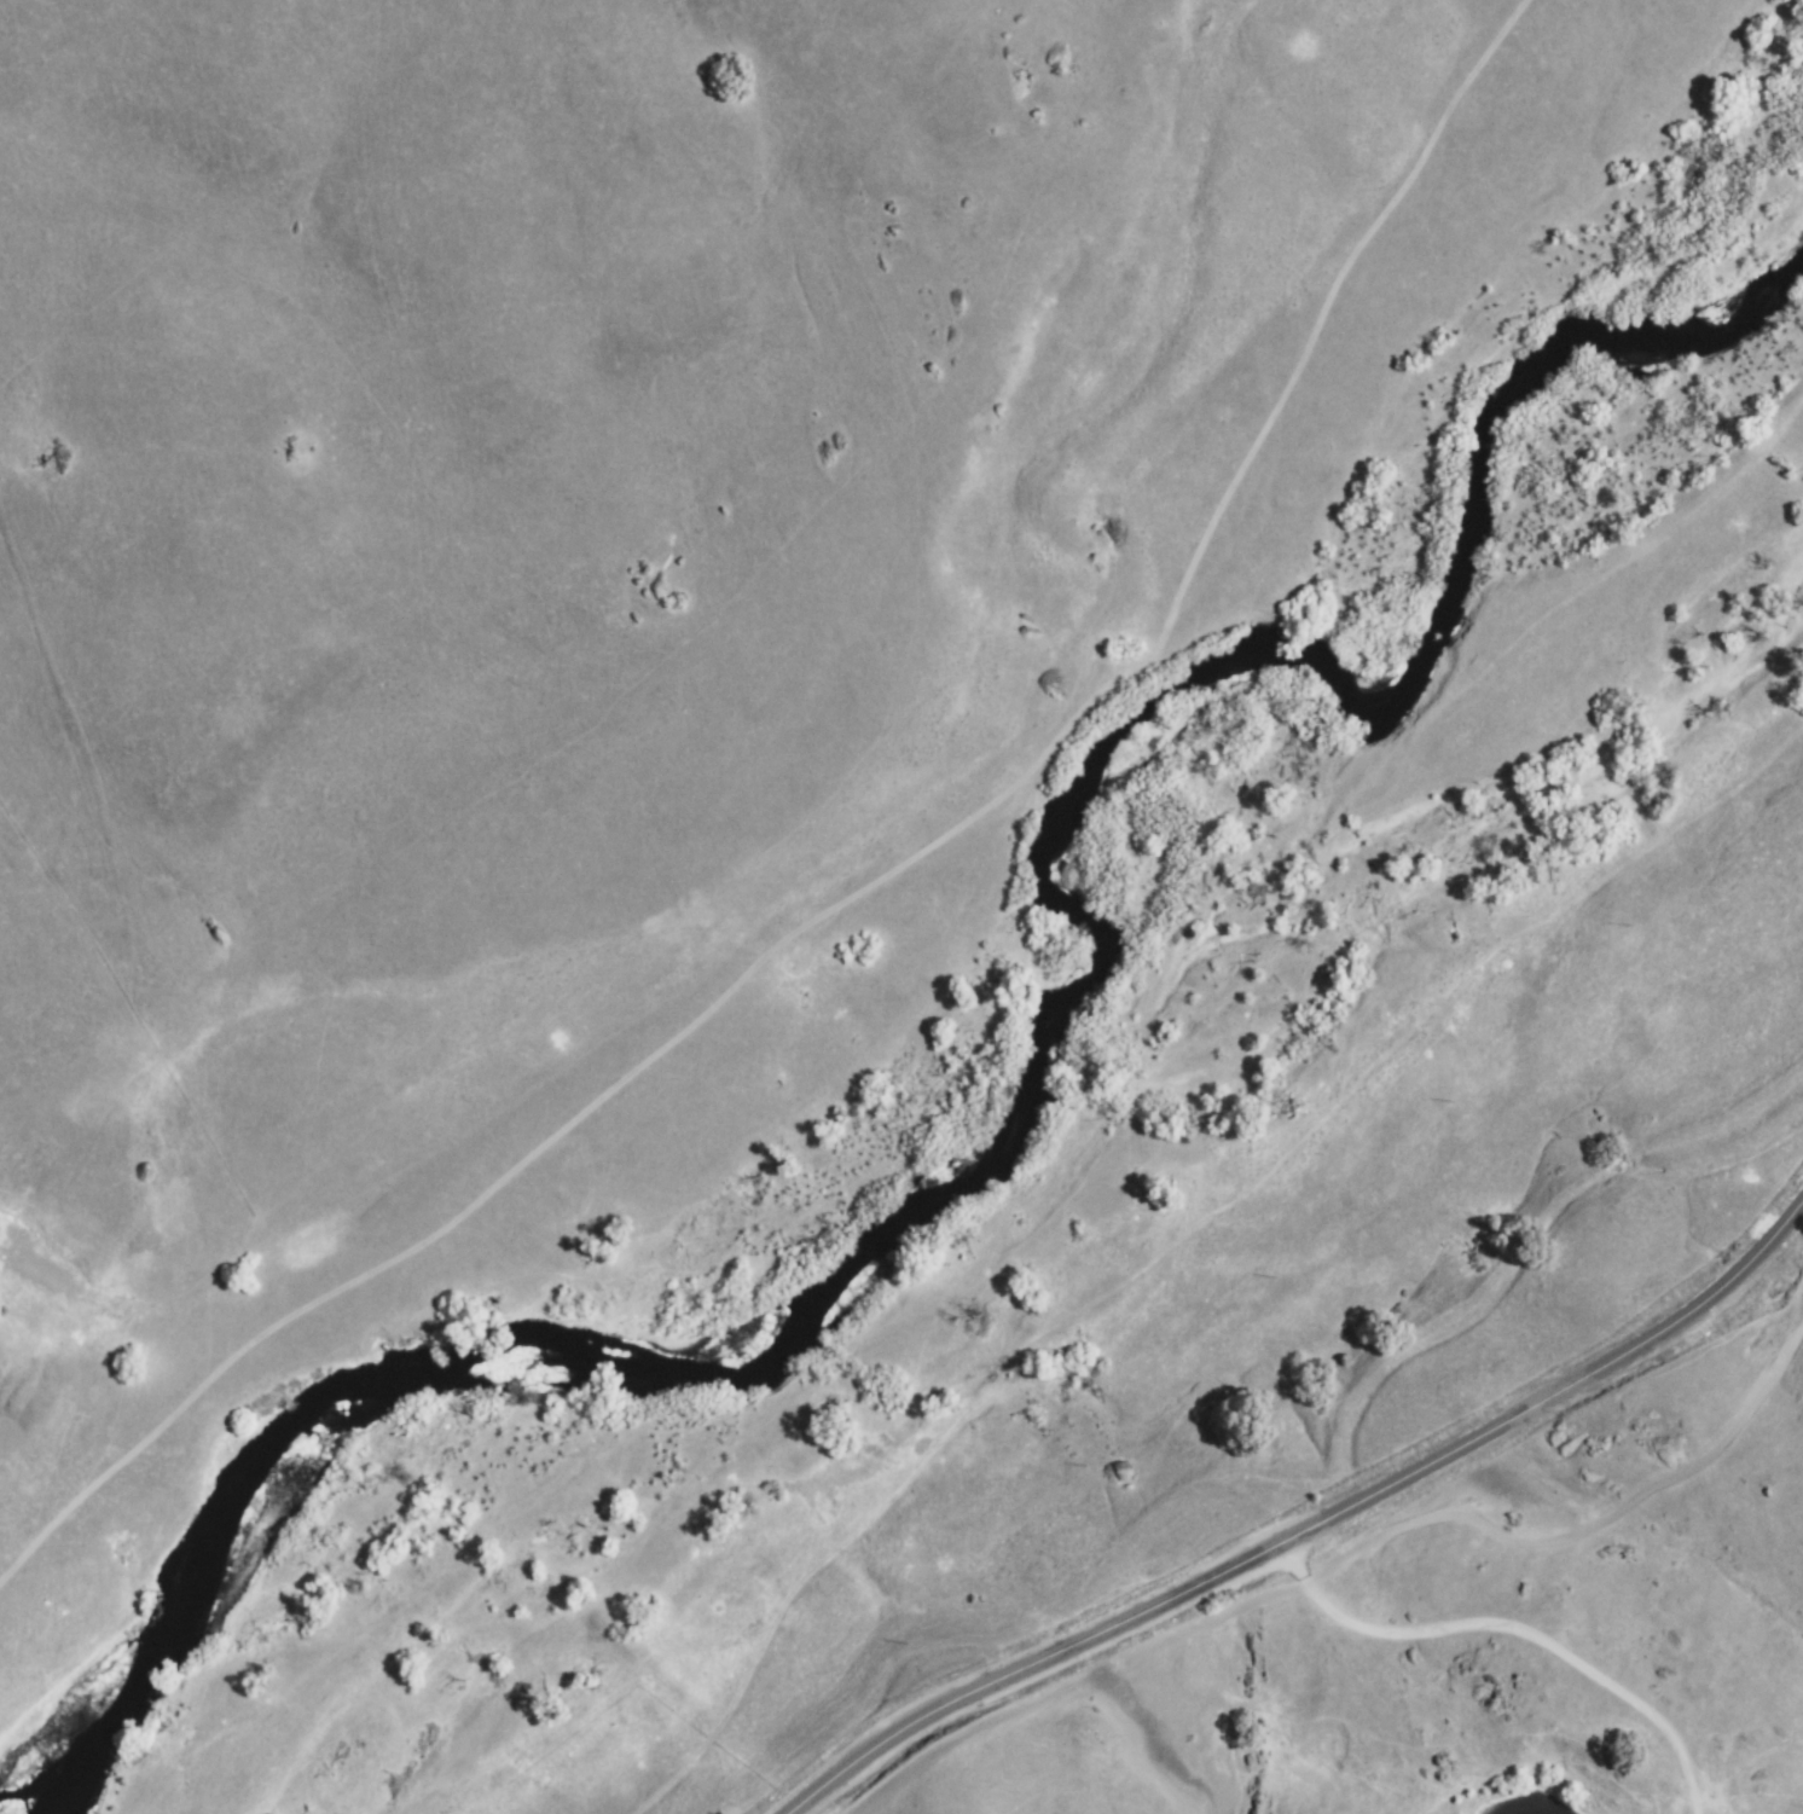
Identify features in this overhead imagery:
river: (1021, 1106)
road: (1555, 1385)
road: (1025, 1665)
road: (1432, 1708)

